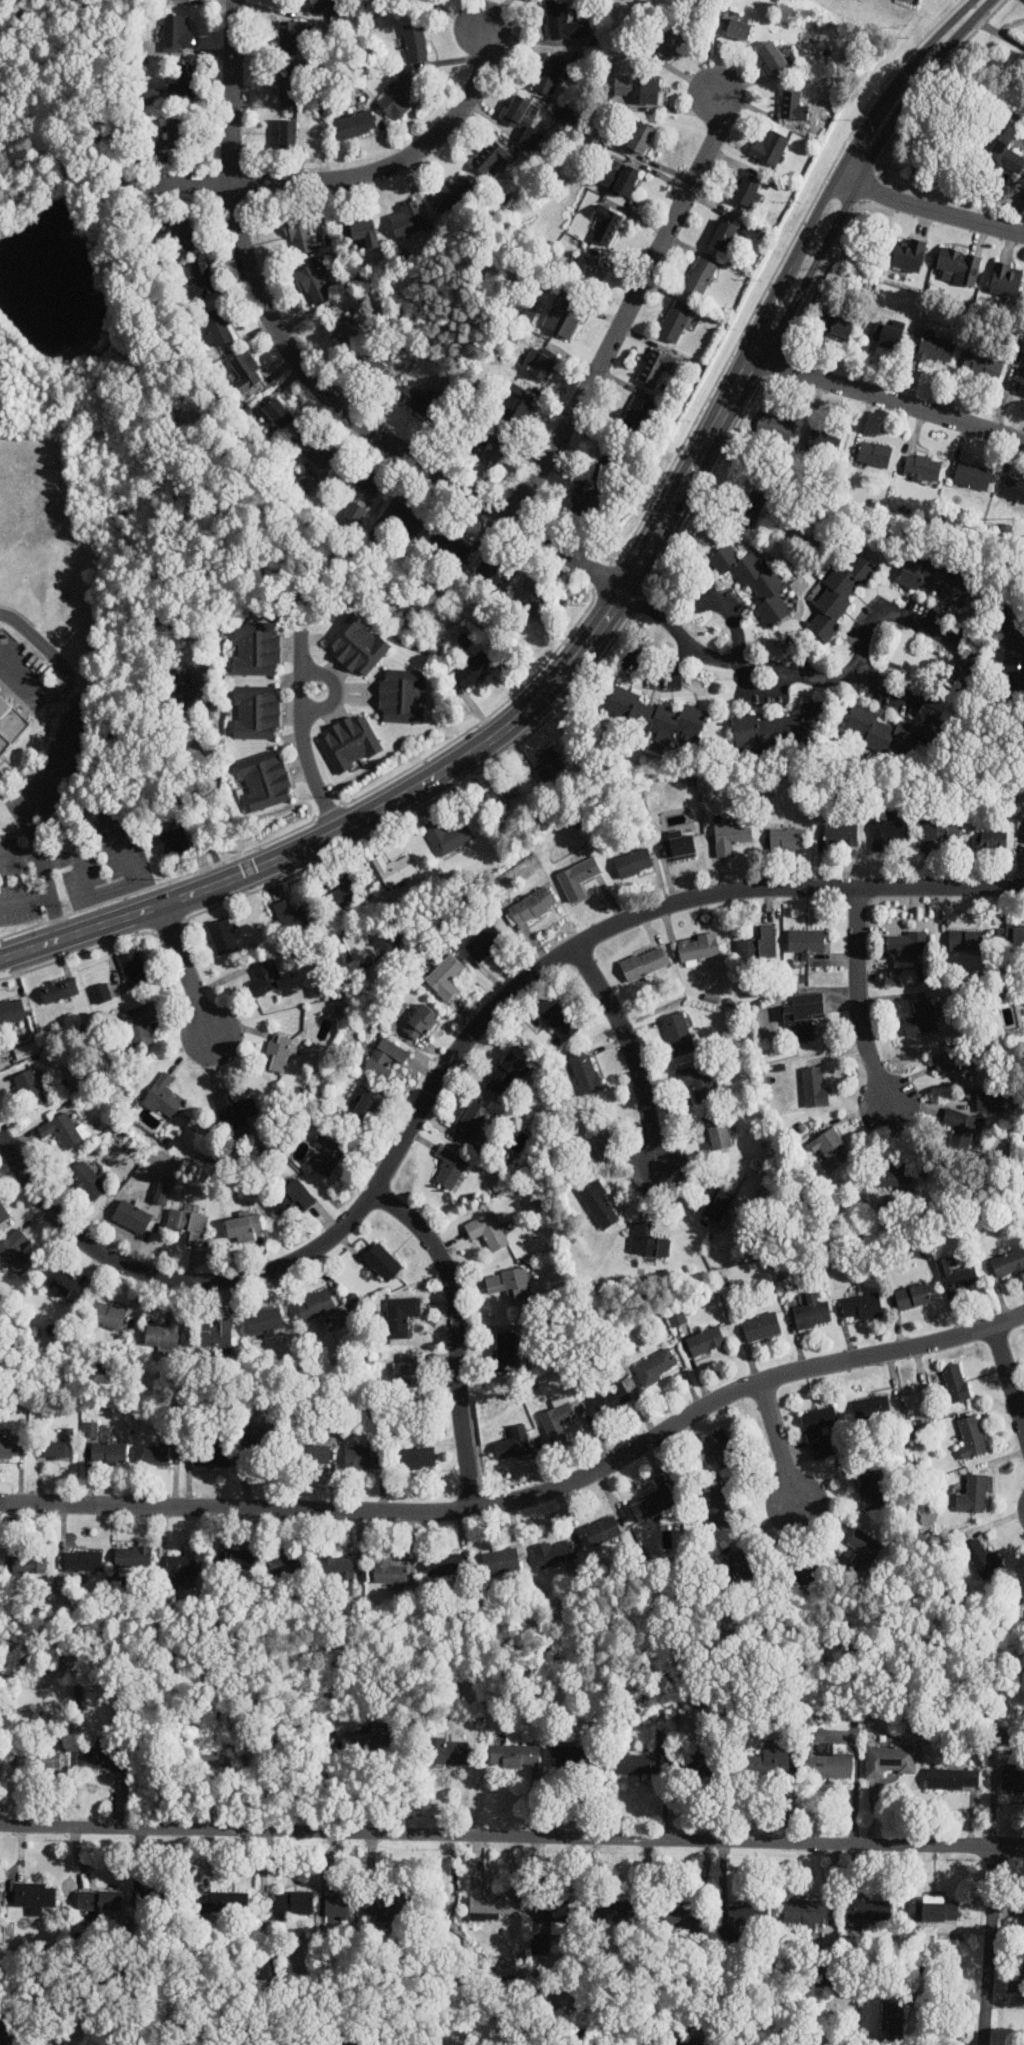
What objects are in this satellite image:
building: (325, 5)
building: (410, 6)
building: (564, 23)
building: (738, 30)
road: (1000, 31)
building: (178, 32)
building: (291, 36)
road: (933, 39)
building: (672, 41)
building: (416, 43)
building: (773, 52)
building: (550, 74)
building: (184, 84)
building: (290, 85)
building: (623, 86)
building: (649, 90)
building: (150, 95)
building: (400, 98)
building: (793, 104)
building: (525, 118)
building: (355, 125)
road: (867, 127)
building: (176, 134)
building: (288, 135)
building: (640, 138)
building: (305, 139)
building: (769, 148)
building: (998, 150)
building: (493, 158)
road: (938, 167)
road: (862, 172)
road: (346, 178)
building: (618, 182)
building: (747, 190)
building: (455, 193)
building: (1020, 207)
road: (929, 212)
road: (813, 218)
building: (407, 220)
building: (607, 225)
building: (751, 229)
building: (299, 232)
building: (362, 232)
building: (180, 233)
building: (722, 237)
building: (909, 256)
building: (959, 266)
building: (581, 273)
building: (702, 276)
building: (202, 279)
building: (1005, 280)
building: (313, 286)
road: (625, 308)
road: (765, 310)
building: (524, 314)
building: (562, 318)
building: (675, 322)
building: (837, 326)
building: (218, 327)
building: (888, 330)
building: (340, 331)
building: (936, 350)
building: (538, 365)
building: (657, 367)
building: (981, 367)
building: (374, 369)
building: (246, 372)
road: (301, 373)
building: (1019, 384)
road: (888, 399)
building: (418, 400)
building: (518, 404)
building: (277, 414)
building: (635, 417)
building: (774, 426)
building: (822, 444)
building: (314, 450)
building: (494, 451)
building: (874, 455)
building: (608, 461)
building: (922, 468)
building: (972, 476)
building: (355, 480)
building: (309, 483)
building: (1013, 490)
building: (751, 507)
building: (582, 508)
building: (406, 518)
building: (450, 544)
building: (492, 571)
building: (938, 580)
building: (758, 583)
building: (840, 594)
building: (536, 599)
building: (358, 642)
building: (1013, 643)
building: (256, 649)
road: (861, 657)
building: (474, 671)
road: (30, 685)
building: (182, 692)
building: (402, 697)
building: (256, 712)
building: (654, 716)
building: (9, 727)
building: (777, 727)
building: (891, 732)
road: (304, 736)
building: (350, 741)
road: (66, 748)
road: (460, 759)
building: (549, 764)
building: (265, 781)
road: (198, 792)
building: (502, 794)
building: (888, 831)
building: (937, 833)
building: (731, 834)
building: (841, 835)
building: (448, 836)
building: (989, 839)
building: (788, 840)
building: (172, 841)
building: (679, 847)
road: (18, 850)
building: (634, 863)
building: (395, 870)
building: (578, 878)
road: (105, 891)
building: (346, 891)
road: (46, 896)
building: (531, 906)
building: (297, 915)
building: (222, 937)
building: (1010, 937)
building: (965, 940)
building: (485, 943)
building: (805, 943)
building: (904, 943)
building: (759, 945)
building: (699, 947)
building: (644, 964)
building: (133, 968)
road: (187, 969)
building: (445, 977)
building: (266, 979)
building: (59, 991)
building: (101, 994)
road: (857, 1001)
building: (12, 1012)
building: (803, 1015)
building: (1006, 1017)
building: (921, 1019)
building: (560, 1022)
building: (420, 1023)
building: (141, 1025)
building: (678, 1034)
building: (24, 1050)
road: (629, 1050)
building: (277, 1053)
building: (385, 1058)
road: (453, 1058)
building: (955, 1063)
building: (505, 1073)
building: (586, 1073)
building: (697, 1082)
building: (814, 1087)
building: (29, 1089)
building: (163, 1098)
building: (991, 1103)
building: (366, 1104)
building: (234, 1109)
building: (471, 1122)
building: (959, 1128)
building: (62, 1131)
building: (717, 1134)
building: (595, 1139)
building: (830, 1150)
building: (327, 1155)
building: (450, 1168)
building: (893, 1175)
building: (87, 1181)
building: (293, 1200)
building: (599, 1204)
building: (717, 1205)
building: (3, 1214)
building: (132, 1217)
building: (189, 1225)
building: (243, 1227)
building: (488, 1232)
building: (648, 1242)
building: (16, 1253)
road: (441, 1260)
building: (382, 1262)
building: (1008, 1264)
building: (957, 1276)
building: (64, 1284)
building: (510, 1285)
building: (912, 1297)
building: (316, 1305)
building: (861, 1307)
building: (812, 1312)
building: (106, 1314)
building: (401, 1316)
building: (675, 1317)
building: (264, 1321)
building: (761, 1327)
building: (165, 1334)
building: (216, 1334)
building: (705, 1341)
building: (505, 1352)
building: (655, 1367)
building: (410, 1370)
road: (1008, 1375)
building: (956, 1383)
building: (611, 1398)
building: (872, 1407)
building: (558, 1421)
building: (819, 1421)
building: (89, 1429)
road: (463, 1431)
building: (971, 1437)
building: (258, 1443)
road: (780, 1443)
building: (513, 1444)
building: (60, 1446)
building: (9, 1447)
building: (723, 1448)
building: (822, 1450)
building: (108, 1453)
building: (312, 1454)
building: (155, 1455)
building: (212, 1456)
building: (416, 1457)
building: (362, 1458)
building: (872, 1492)
road: (529, 1495)
building: (972, 1495)
building: (652, 1504)
building: (721, 1508)
building: (602, 1532)
building: (864, 1549)
building: (555, 1554)
building: (133, 1557)
building: (982, 1559)
building: (242, 1561)
building: (501, 1561)
building: (29, 1562)
building: (83, 1562)
building: (746, 1564)
building: (288, 1565)
building: (186, 1566)
building: (445, 1566)
building: (338, 1571)
building: (389, 1572)
building: (806, 1576)
building: (1022, 1587)
building: (365, 1739)
building: (446, 1749)
building: (565, 1754)
building: (215, 1755)
building: (513, 1755)
building: (822, 1756)
building: (100, 1758)
building: (38, 1759)
building: (888, 1759)
building: (636, 1764)
building: (952, 1778)
building: (1011, 1781)
road: (328, 1785)
road: (512, 1837)
building: (33, 1895)
building: (490, 1899)
building: (98, 1900)
building: (222, 1901)
building: (1023, 1903)
building: (291, 1904)
building: (335, 1907)
building: (382, 1907)
building: (933, 1908)
building: (867, 1909)
building: (550, 1910)
building: (614, 1910)
building: (807, 1911)
building: (744, 1914)
building: (678, 1917)
building: (857, 1925)
road: (988, 1947)
building: (891, 2019)
building: (5, 2041)
building: (682, 2043)

